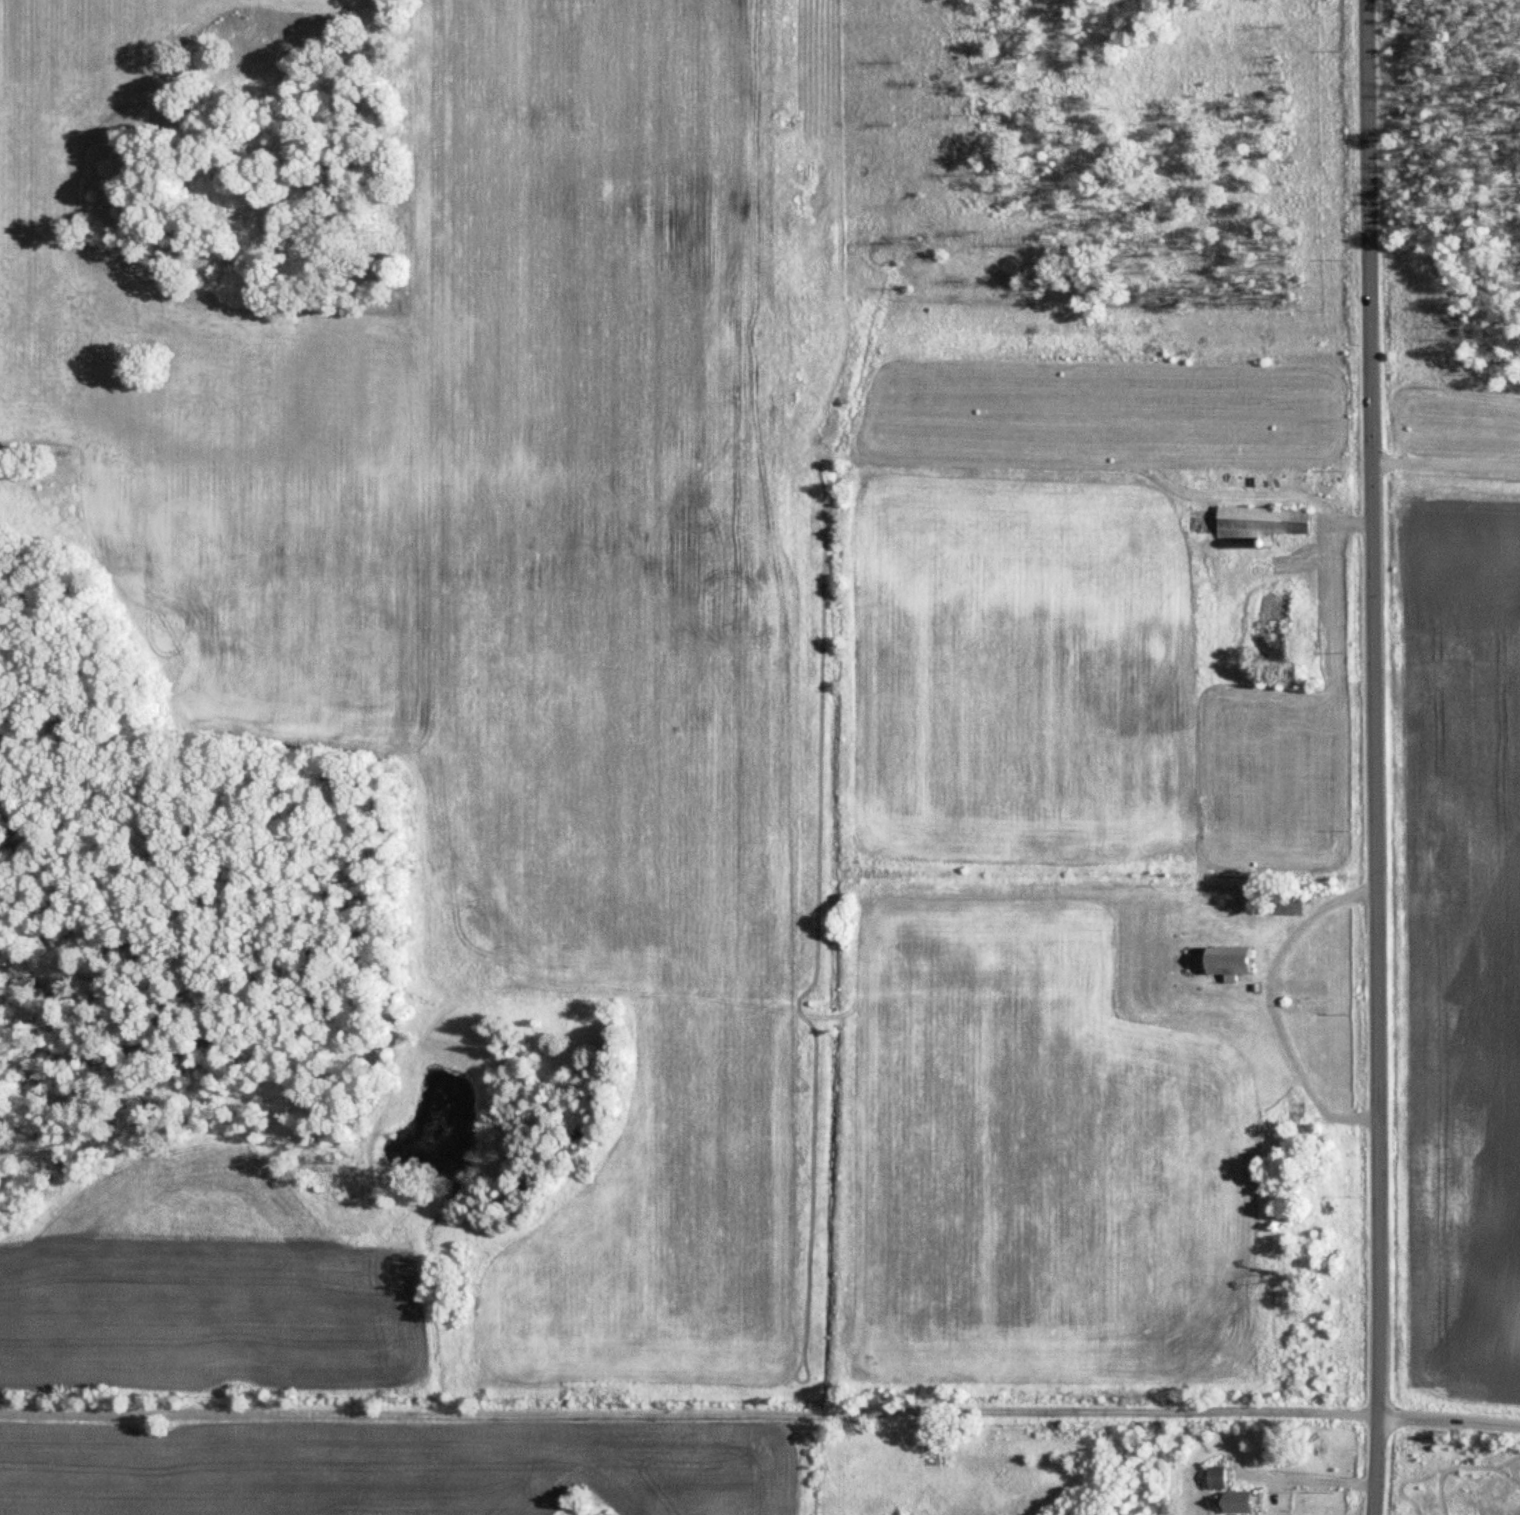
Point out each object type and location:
road: (1445, 462)
building: (1257, 522)
road: (1372, 757)
building: (1279, 907)
building: (1226, 961)
road: (688, 1414)
road: (1448, 1421)
building: (1226, 1493)

